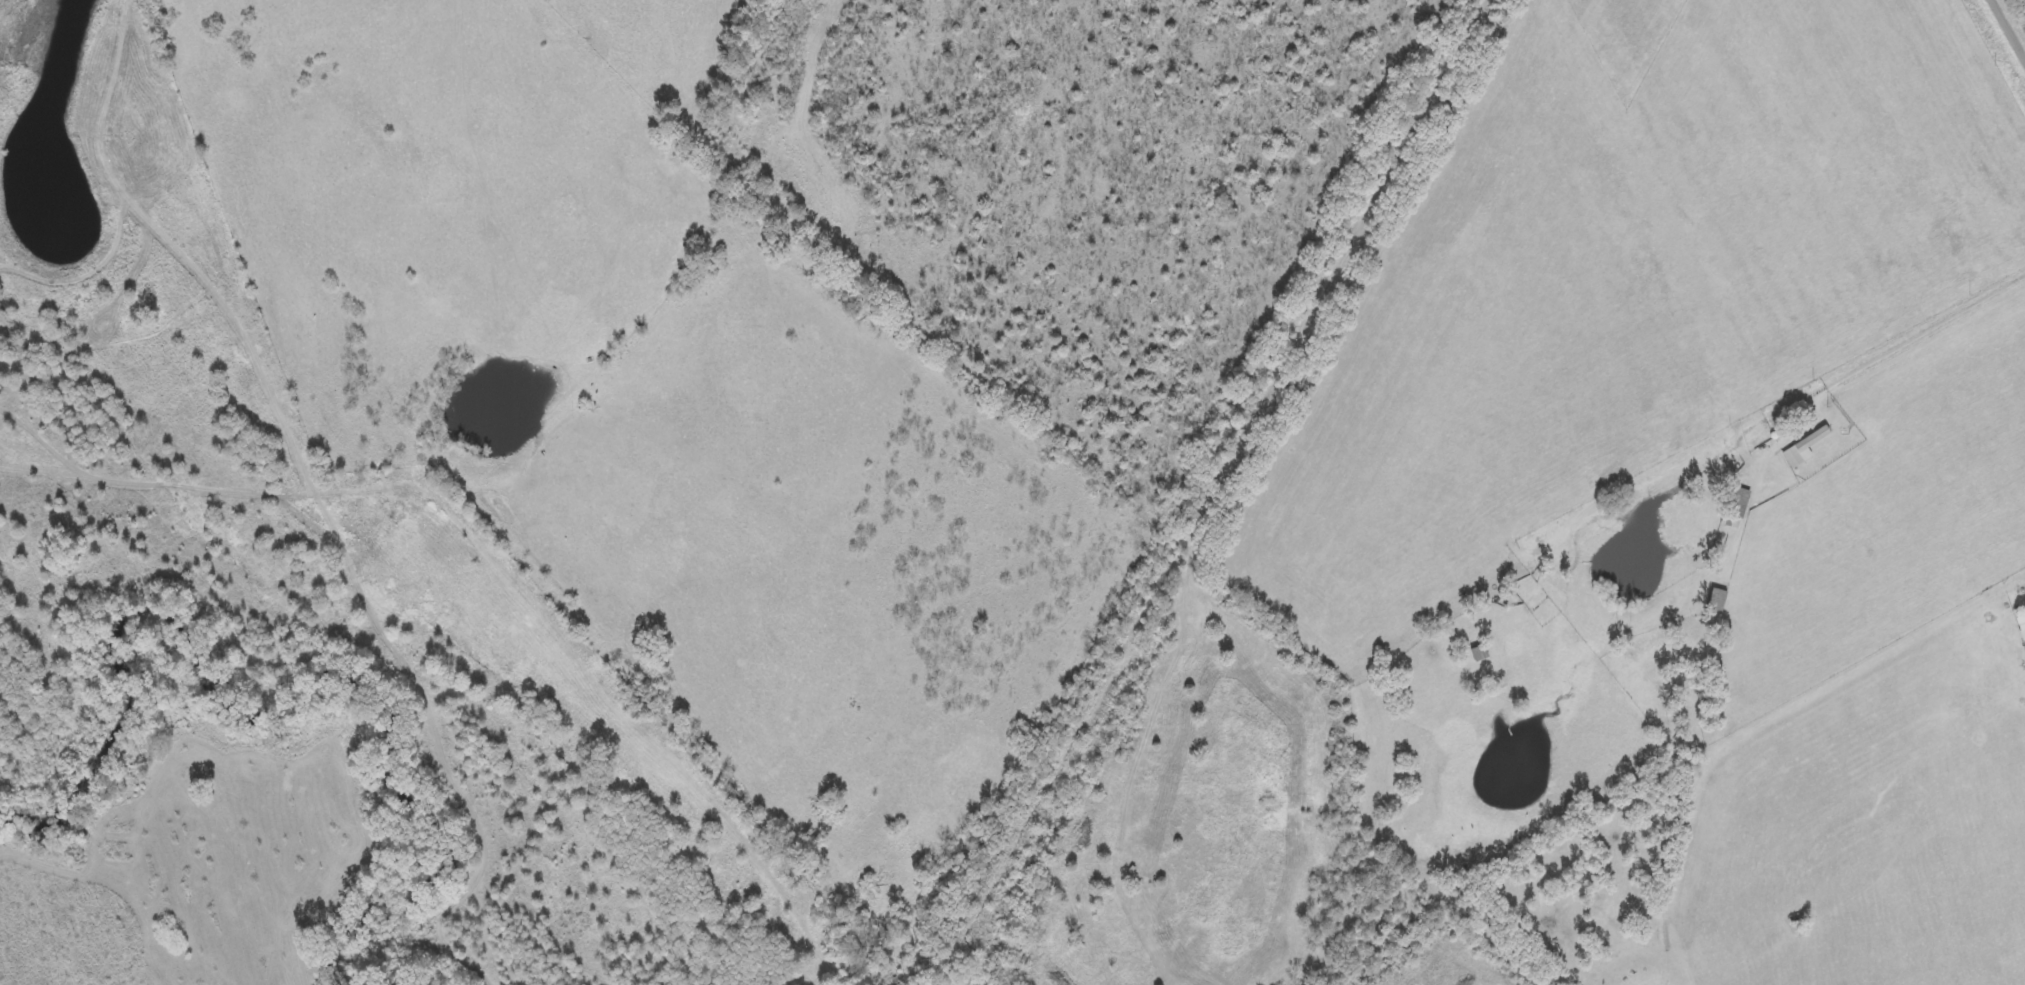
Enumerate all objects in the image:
road: (2012, 23)
building: (1804, 450)
railway: (1216, 493)
building: (1735, 508)
building: (2021, 627)
building: (2024, 647)

